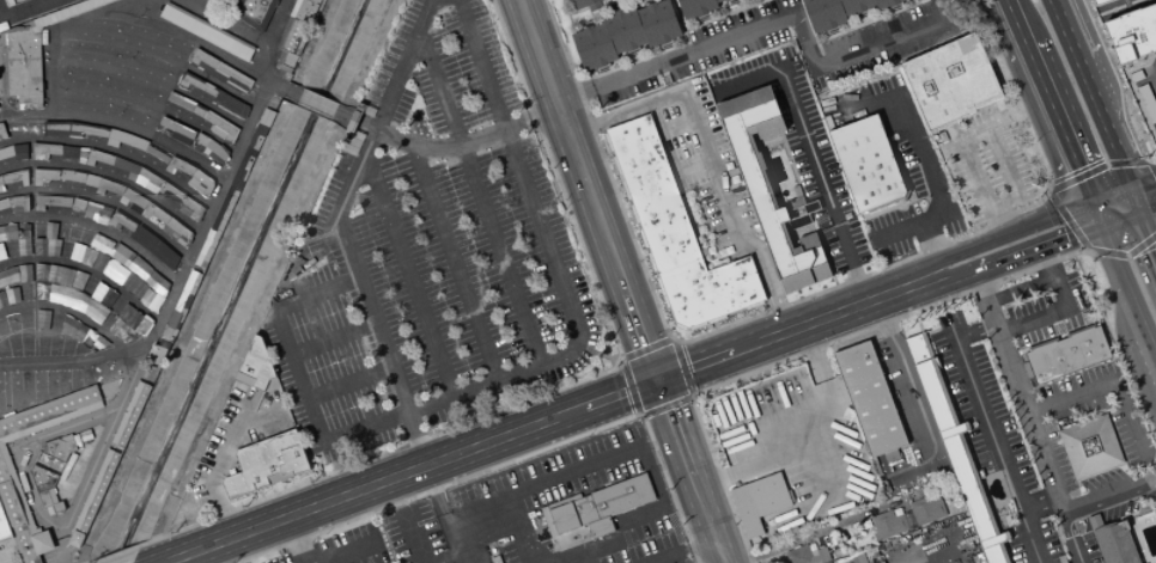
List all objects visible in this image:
building: (209, 0)
building: (718, 0)
building: (839, 0)
building: (886, 2)
building: (1099, 2)
building: (586, 4)
building: (856, 5)
road: (22, 7)
building: (123, 7)
building: (695, 7)
building: (67, 10)
building: (303, 10)
building: (153, 11)
building: (253, 12)
building: (825, 13)
road: (723, 14)
road: (568, 17)
building: (175, 18)
road: (773, 20)
road: (276, 22)
building: (658, 22)
road: (1012, 22)
building: (74, 23)
road: (863, 23)
building: (103, 24)
building: (194, 25)
road: (681, 25)
building: (130, 27)
building: (623, 29)
road: (48, 32)
building: (1132, 33)
road: (178, 35)
building: (226, 35)
building: (292, 35)
building: (153, 36)
building: (1, 39)
building: (65, 43)
building: (85, 44)
building: (594, 45)
building: (178, 47)
building: (105, 48)
building: (241, 50)
road: (157, 53)
building: (129, 54)
building: (201, 59)
road: (635, 60)
building: (285, 61)
building: (254, 62)
building: (23, 65)
building: (159, 66)
road: (267, 66)
building: (66, 69)
building: (93, 72)
building: (1136, 75)
building: (120, 77)
road: (152, 77)
building: (233, 78)
building: (953, 80)
road: (1154, 80)
road: (275, 81)
building: (1, 82)
building: (195, 82)
building: (145, 85)
road: (1089, 94)
building: (74, 96)
building: (172, 98)
building: (220, 98)
road: (318, 99)
building: (115, 100)
road: (147, 102)
building: (1146, 102)
building: (273, 104)
building: (237, 106)
building: (199, 110)
road: (626, 111)
building: (146, 112)
road: (351, 114)
road: (354, 116)
road: (367, 121)
building: (352, 122)
road: (985, 122)
road: (1057, 122)
building: (169, 124)
building: (220, 124)
building: (54, 127)
building: (85, 129)
building: (2, 130)
building: (1152, 134)
building: (195, 135)
building: (124, 139)
road: (602, 140)
building: (253, 143)
road: (467, 143)
building: (1154, 146)
building: (44, 149)
road: (112, 149)
road: (810, 149)
building: (14, 151)
building: (73, 151)
building: (157, 153)
building: (217, 153)
building: (98, 157)
road: (609, 159)
road: (925, 160)
building: (866, 163)
road: (711, 164)
building: (126, 166)
building: (178, 166)
road: (792, 167)
road: (1151, 167)
road: (613, 170)
road: (1145, 170)
building: (65, 173)
building: (43, 175)
road: (108, 175)
building: (78, 176)
building: (14, 177)
building: (150, 177)
building: (91, 179)
building: (0, 180)
building: (202, 182)
road: (1099, 182)
building: (237, 183)
building: (264, 183)
road: (1142, 183)
road: (1149, 183)
road: (677, 185)
building: (108, 186)
road: (588, 189)
road: (620, 189)
traffic signals: (1130, 189)
building: (771, 190)
road: (1051, 190)
building: (170, 191)
building: (652, 192)
road: (479, 194)
road: (1111, 195)
building: (132, 197)
road: (102, 200)
building: (19, 201)
building: (49, 201)
road: (1134, 201)
building: (4, 202)
building: (78, 202)
traffic signals: (1093, 202)
road: (341, 203)
road: (899, 203)
building: (191, 208)
road: (807, 208)
building: (96, 209)
road: (1148, 209)
building: (153, 213)
traffic signals: (1139, 213)
road: (1097, 214)
road: (631, 218)
road: (206, 219)
road: (1121, 219)
road: (1071, 220)
building: (121, 221)
road: (706, 222)
road: (998, 222)
road: (699, 224)
building: (217, 225)
road: (96, 226)
traffic signals: (1103, 226)
building: (178, 231)
road: (1015, 231)
road: (1148, 232)
road: (1121, 234)
building: (146, 237)
building: (17, 238)
road: (930, 240)
building: (47, 241)
road: (1041, 247)
road: (31, 250)
road: (822, 250)
road: (1088, 250)
parking lot: (427, 251)
building: (1, 252)
building: (168, 255)
road: (550, 257)
road: (455, 262)
road: (1046, 264)
road: (87, 269)
road: (409, 273)
road: (925, 273)
road: (942, 273)
building: (14, 275)
road: (962, 277)
road: (768, 279)
road: (929, 282)
building: (67, 289)
building: (710, 289)
road: (893, 289)
road: (1128, 289)
road: (1061, 293)
building: (8, 296)
building: (181, 306)
road: (758, 308)
road: (66, 310)
road: (714, 324)
building: (72, 329)
road: (974, 331)
road: (699, 336)
road: (331, 337)
road: (765, 337)
road: (673, 343)
road: (1002, 343)
road: (1126, 344)
road: (810, 349)
road: (597, 351)
building: (1066, 354)
building: (154, 355)
road: (646, 355)
road: (814, 360)
road: (621, 363)
building: (255, 366)
road: (680, 371)
building: (146, 373)
road: (298, 374)
traffic signals: (656, 379)
road: (347, 381)
road: (1111, 381)
road: (632, 388)
road: (536, 396)
road: (690, 396)
building: (869, 398)
road: (915, 399)
road: (665, 404)
building: (130, 414)
road: (640, 414)
road: (414, 439)
road: (993, 446)
building: (1090, 446)
building: (57, 448)
building: (956, 449)
road: (512, 460)
building: (47, 464)
road: (219, 464)
building: (266, 464)
road: (408, 470)
road: (689, 470)
road: (742, 471)
building: (7, 473)
road: (546, 479)
road: (1146, 479)
road: (655, 483)
road: (1054, 488)
road: (1145, 490)
building: (96, 491)
building: (621, 496)
road: (1099, 500)
building: (564, 501)
building: (759, 501)
road: (1041, 503)
road: (656, 508)
building: (926, 509)
building: (584, 510)
building: (564, 519)
road: (1115, 519)
building: (548, 521)
building: (887, 525)
road: (63, 526)
building: (600, 527)
building: (4, 528)
road: (518, 528)
road: (821, 530)
road: (412, 537)
building: (75, 539)
road: (296, 539)
building: (1117, 544)
road: (61, 545)
parking lot: (342, 547)
road: (680, 550)
road: (347, 552)
building: (836, 552)
building: (801, 555)
building: (822, 555)
road: (444, 556)
building: (858, 558)

